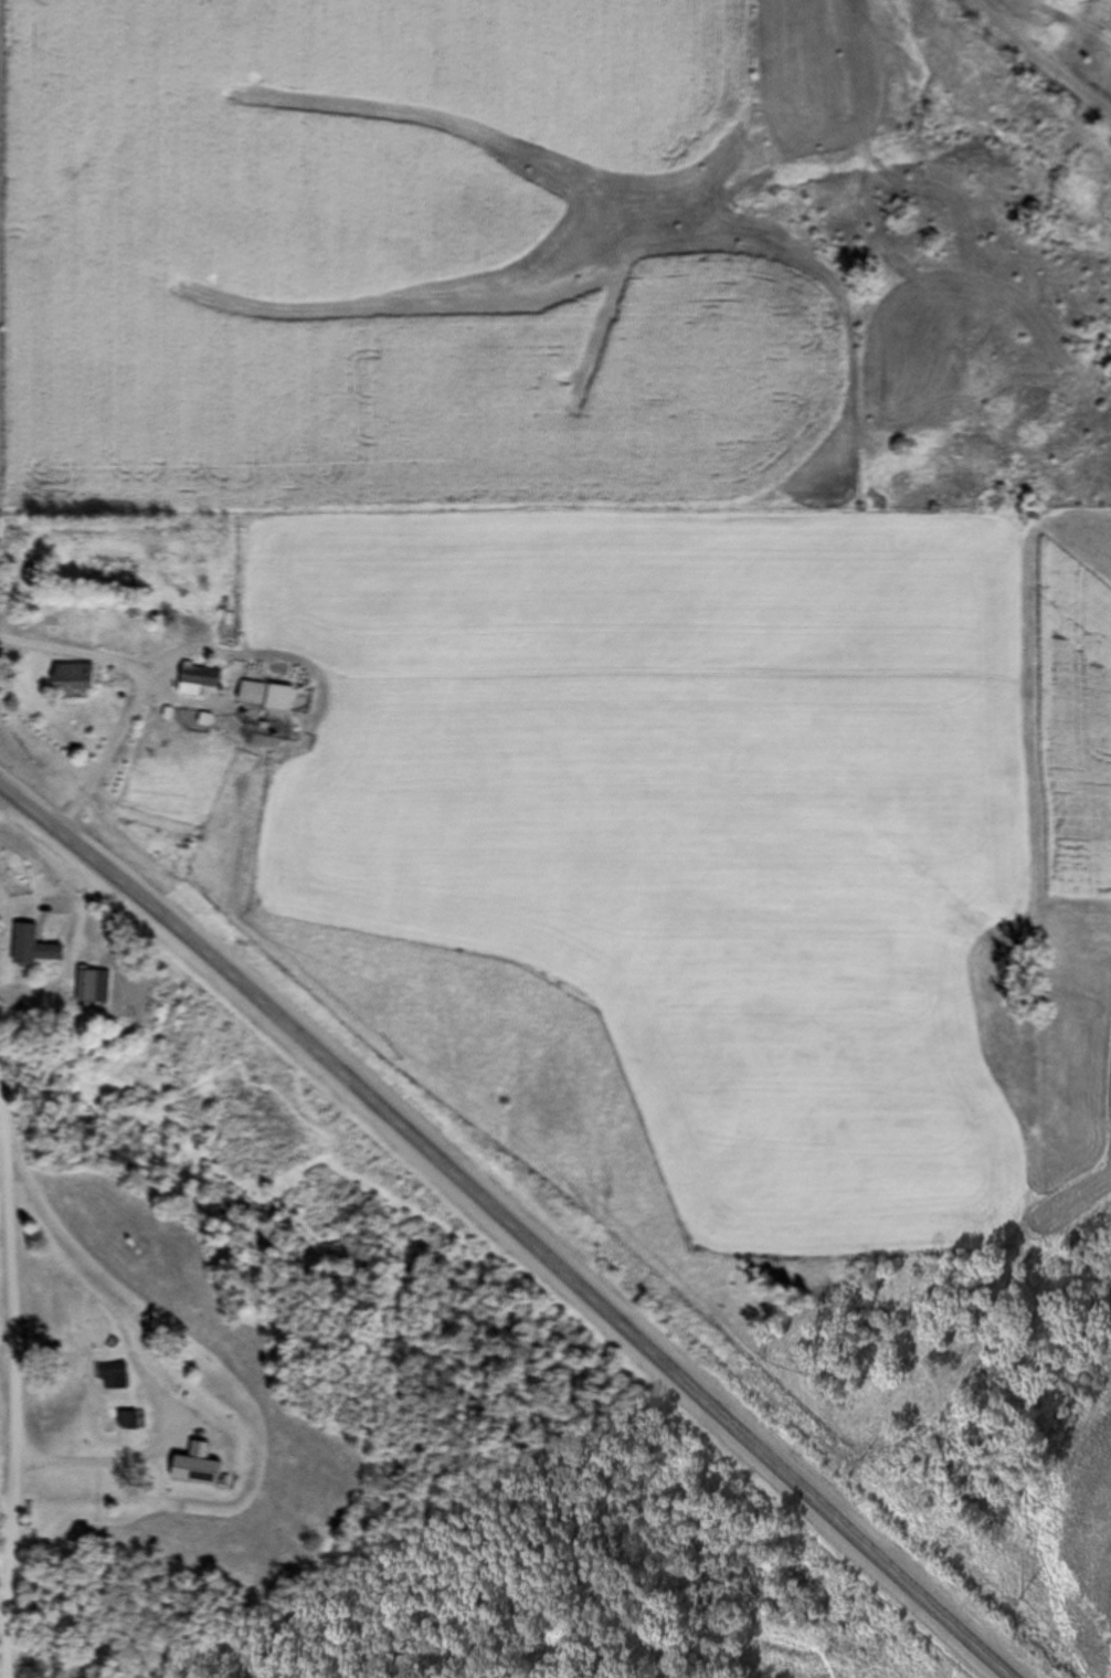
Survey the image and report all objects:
road: (1037, 59)
building: (34, 579)
building: (73, 677)
building: (197, 682)
road: (140, 690)
building: (253, 695)
building: (34, 949)
building: (94, 988)
road: (510, 1228)
road: (55, 1271)
building: (109, 1378)
road: (13, 1453)
building: (197, 1468)

